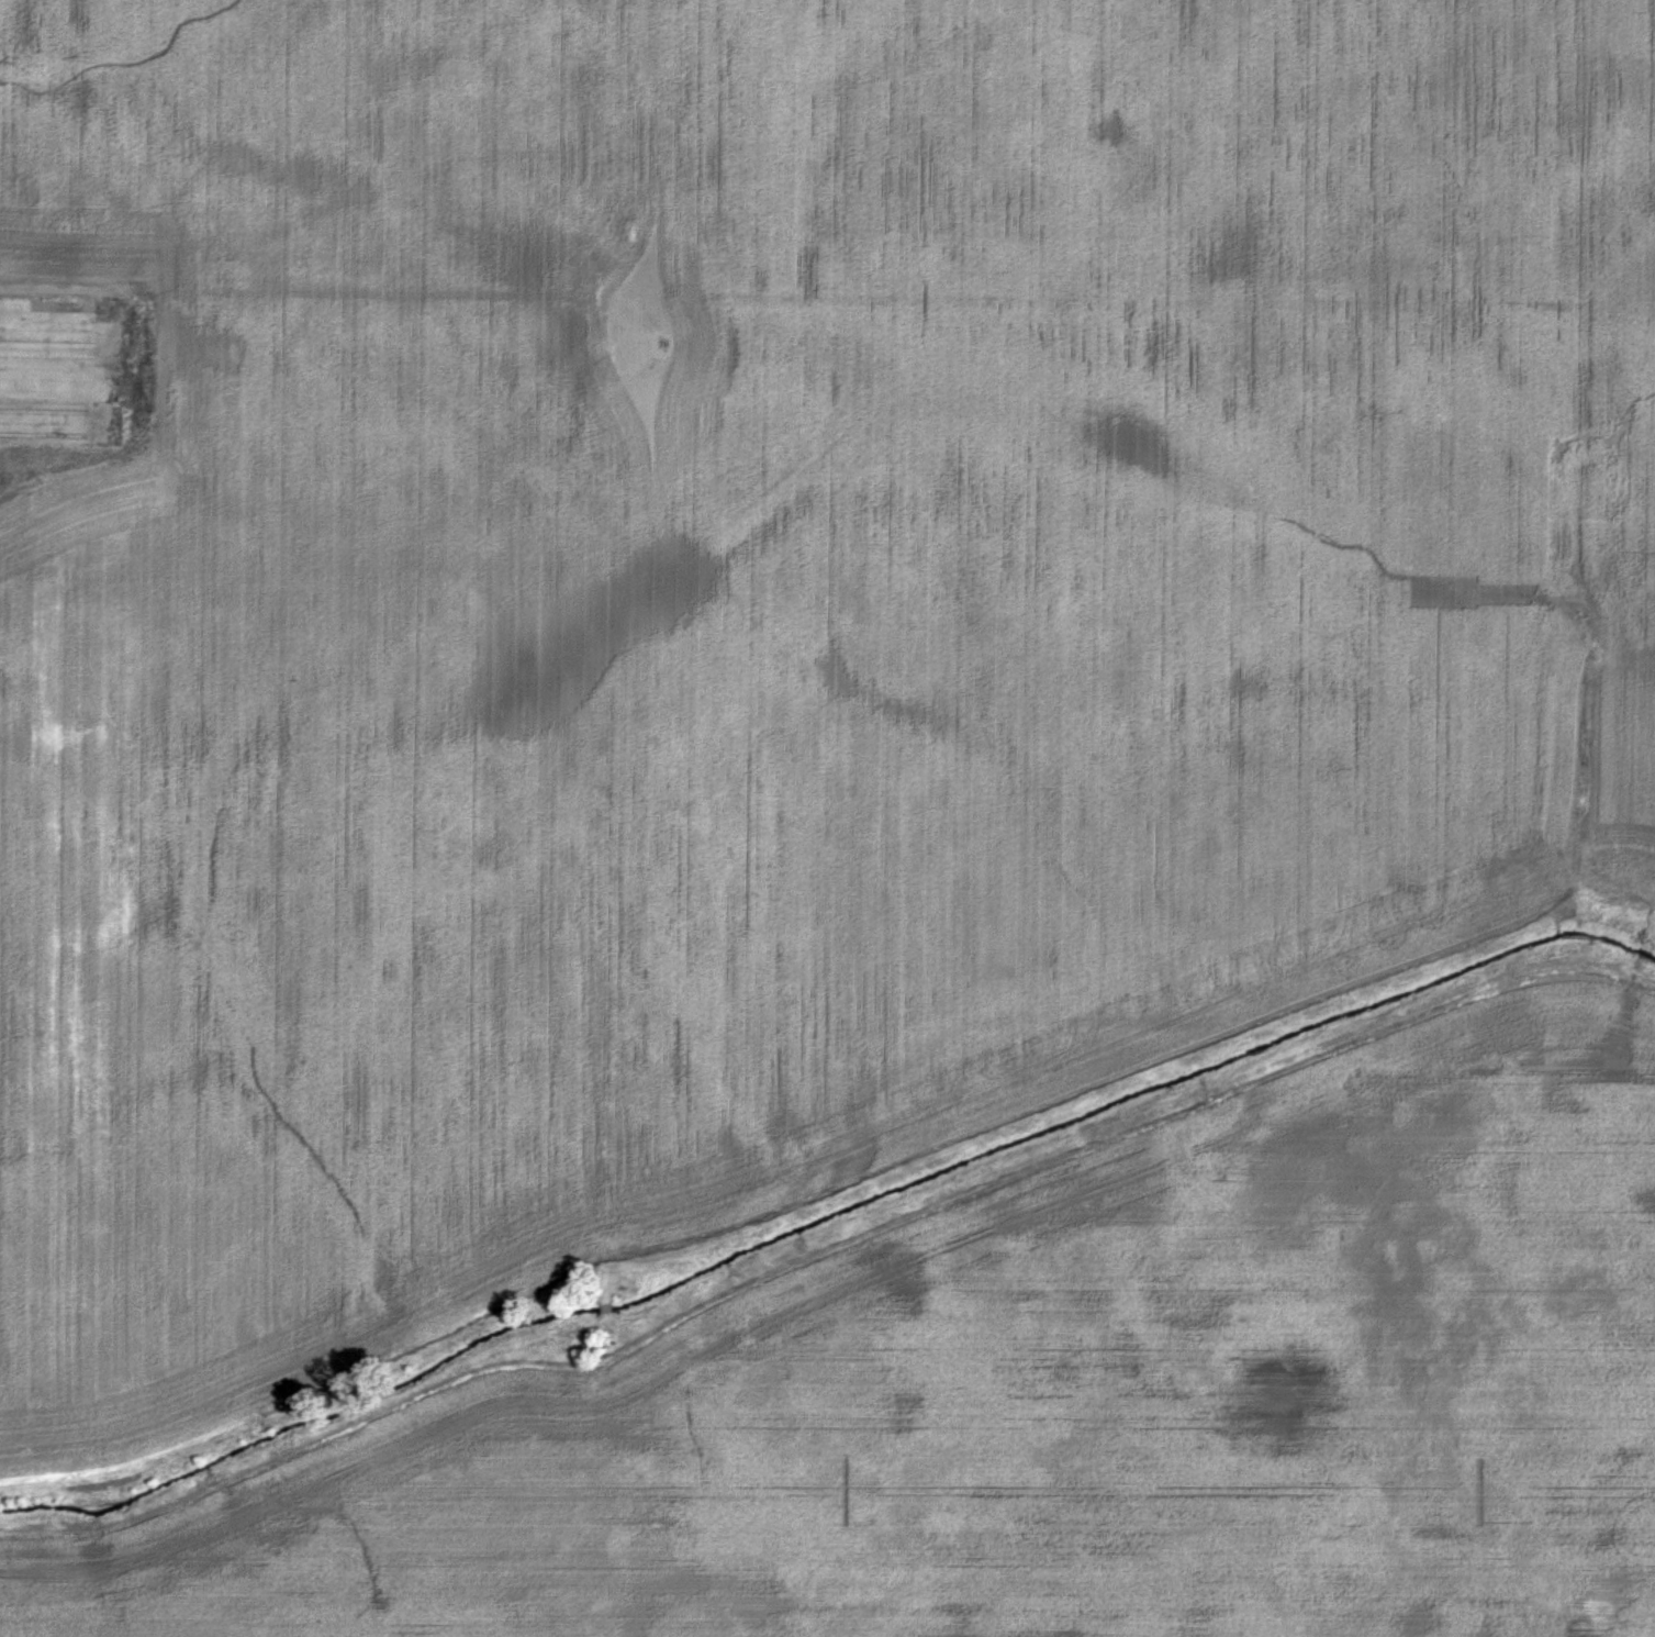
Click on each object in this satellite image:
crop: (827, 818)

